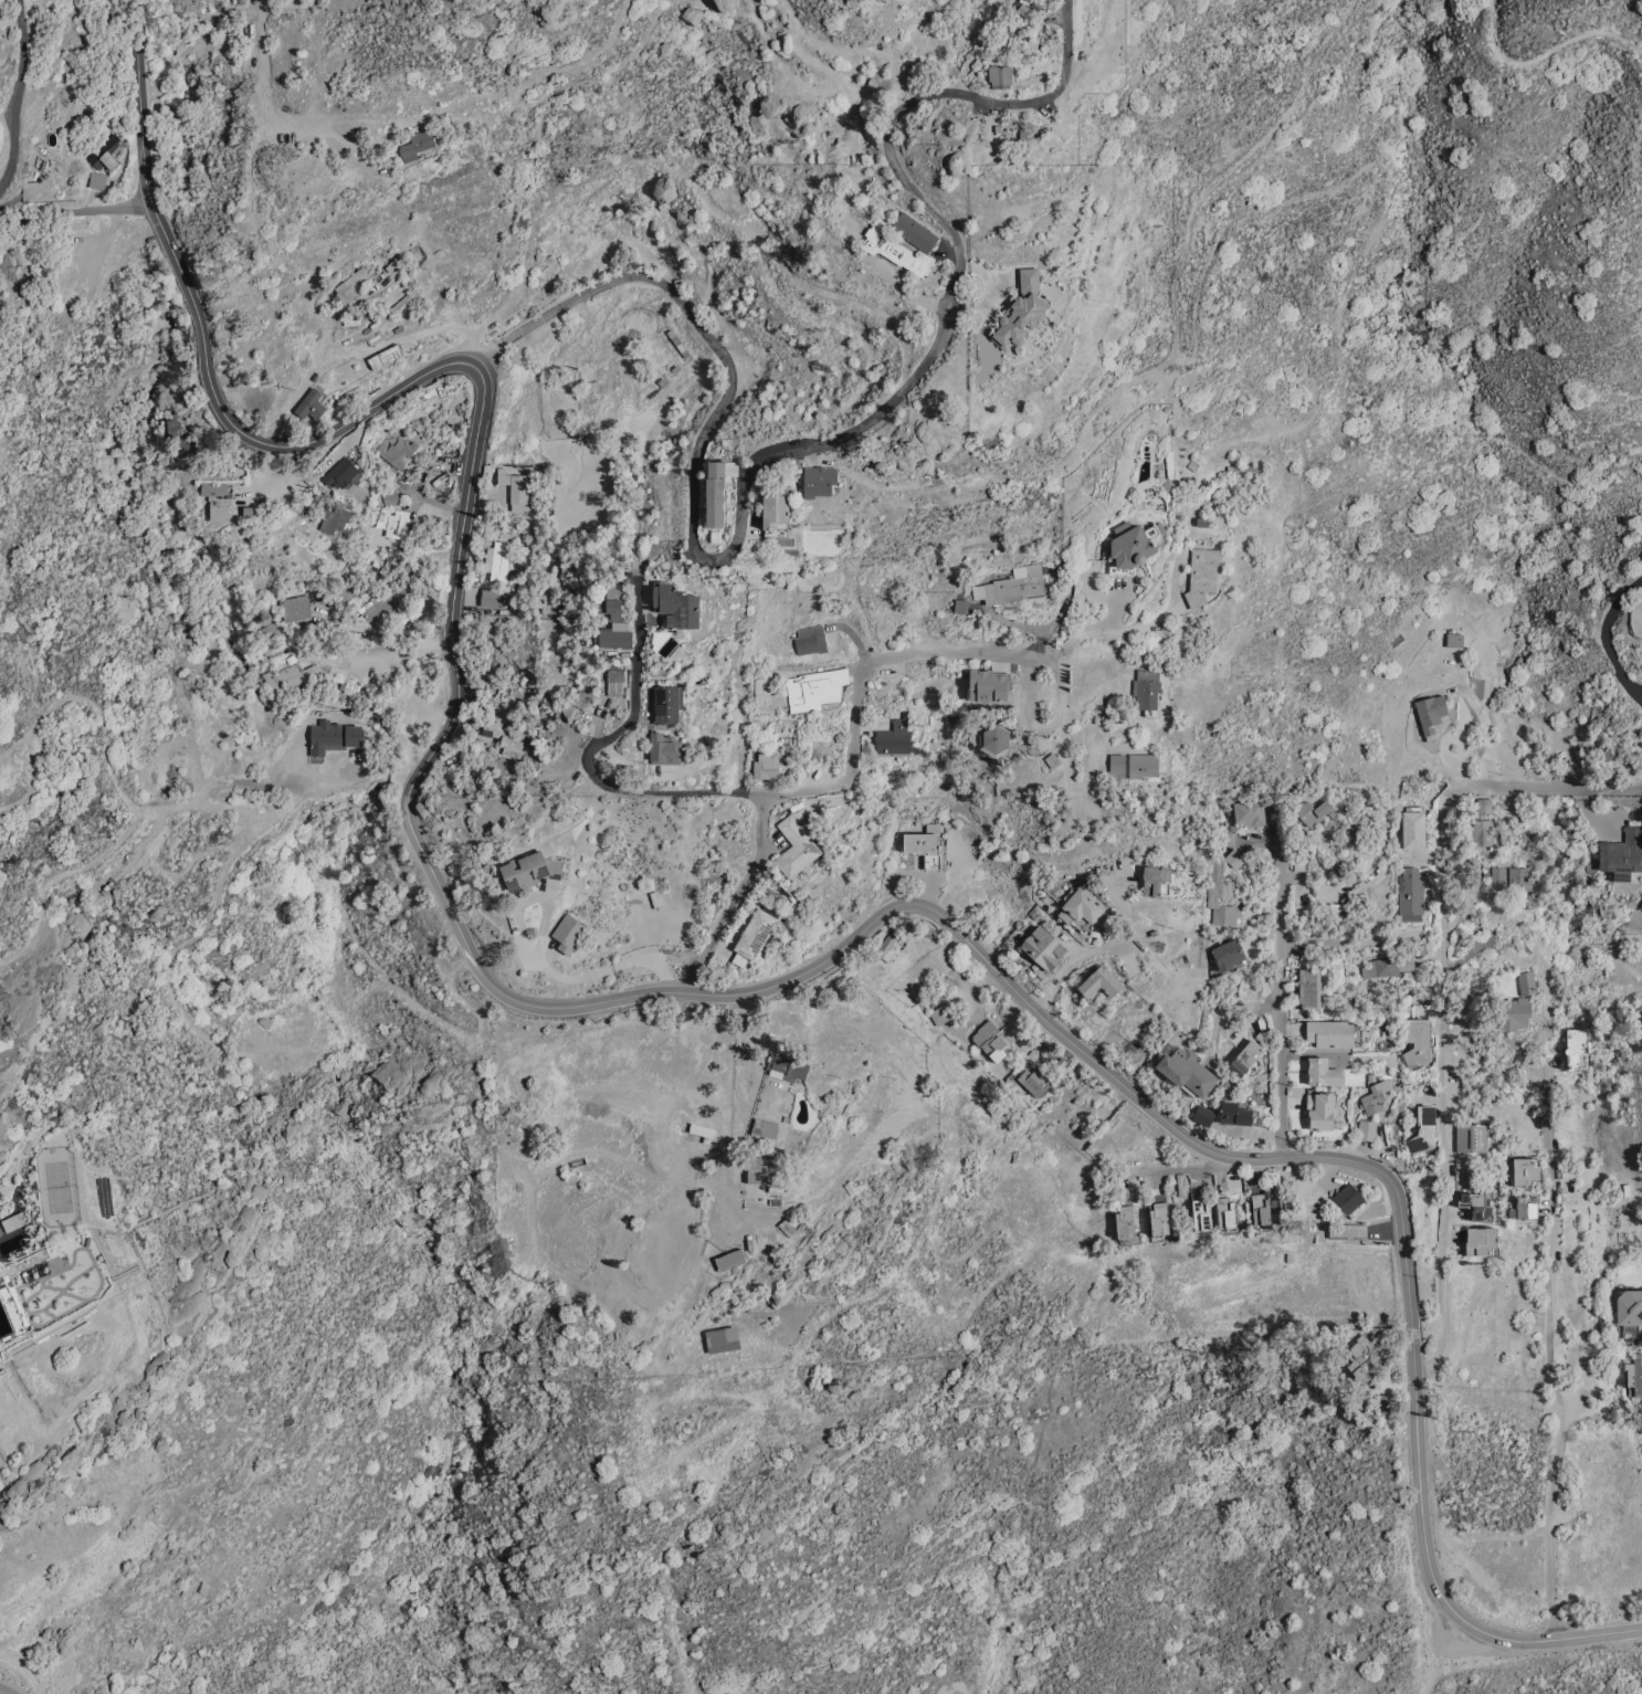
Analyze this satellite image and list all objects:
building: (723, 4)
road: (200, 31)
road: (1543, 59)
building: (999, 74)
road: (261, 87)
road: (17, 96)
building: (414, 144)
building: (105, 151)
building: (95, 179)
road: (692, 188)
road: (74, 210)
road: (571, 212)
road: (1621, 223)
building: (913, 231)
road: (961, 249)
building: (907, 256)
building: (350, 284)
building: (1020, 309)
road: (701, 329)
road: (203, 343)
road: (320, 343)
road: (361, 348)
road: (1164, 360)
building: (309, 404)
building: (177, 434)
building: (398, 452)
road: (316, 463)
building: (341, 473)
building: (818, 480)
building: (514, 488)
building: (714, 493)
building: (388, 495)
building: (215, 501)
building: (775, 512)
building: (334, 517)
building: (393, 523)
building: (1128, 544)
building: (496, 559)
building: (1201, 574)
road: (453, 581)
building: (1014, 583)
building: (610, 590)
building: (488, 597)
building: (387, 602)
building: (676, 606)
building: (294, 607)
building: (612, 624)
road: (1098, 634)
road: (1614, 634)
building: (809, 639)
building: (1453, 639)
road: (397, 651)
road: (936, 660)
building: (291, 676)
building: (614, 682)
building: (988, 684)
building: (761, 687)
building: (813, 688)
building: (1146, 691)
building: (665, 703)
building: (573, 704)
building: (1429, 712)
building: (504, 734)
building: (333, 736)
building: (893, 737)
building: (994, 740)
building: (663, 749)
road: (598, 750)
building: (765, 765)
building: (1133, 765)
road: (1539, 786)
road: (407, 800)
building: (1484, 804)
building: (1313, 811)
building: (1249, 812)
building: (1413, 827)
building: (1482, 832)
building: (1225, 838)
building: (796, 846)
building: (924, 848)
building: (1622, 854)
building: (1234, 857)
building: (1299, 860)
building: (530, 870)
building: (1496, 873)
building: (1156, 880)
building: (1519, 881)
building: (1219, 892)
building: (1411, 894)
road: (736, 897)
building: (1081, 908)
building: (568, 933)
building: (752, 936)
road: (1344, 938)
road: (972, 946)
road: (1101, 947)
building: (1042, 948)
building: (1228, 954)
road: (539, 962)
building: (1383, 966)
road: (1282, 977)
building: (1101, 978)
building: (1526, 982)
building: (1309, 988)
building: (943, 1013)
building: (1511, 1013)
building: (1333, 1033)
building: (990, 1040)
building: (1417, 1040)
building: (1577, 1049)
building: (1244, 1058)
building: (787, 1067)
building: (1187, 1070)
building: (1323, 1072)
road: (745, 1076)
building: (1033, 1081)
road: (1445, 1093)
building: (1375, 1097)
building: (1320, 1109)
building: (1234, 1113)
building: (1203, 1115)
building: (764, 1127)
building: (702, 1129)
building: (1367, 1129)
building: (1424, 1129)
building: (1472, 1136)
road: (1181, 1166)
building: (765, 1168)
building: (1348, 1198)
building: (1477, 1203)
building: (1525, 1207)
building: (1261, 1209)
building: (1225, 1212)
building: (1202, 1214)
building: (1159, 1219)
building: (1125, 1221)
building: (1348, 1230)
building: (1482, 1240)
building: (730, 1260)
road: (980, 1293)
building: (1630, 1311)
building: (7, 1312)
road: (814, 1326)
building: (723, 1339)
building: (1369, 1354)
road: (1549, 1355)
road: (880, 1357)
building: (1634, 1376)
building: (1389, 1400)
road: (1446, 1602)
road: (1436, 1653)
road: (3, 1692)

